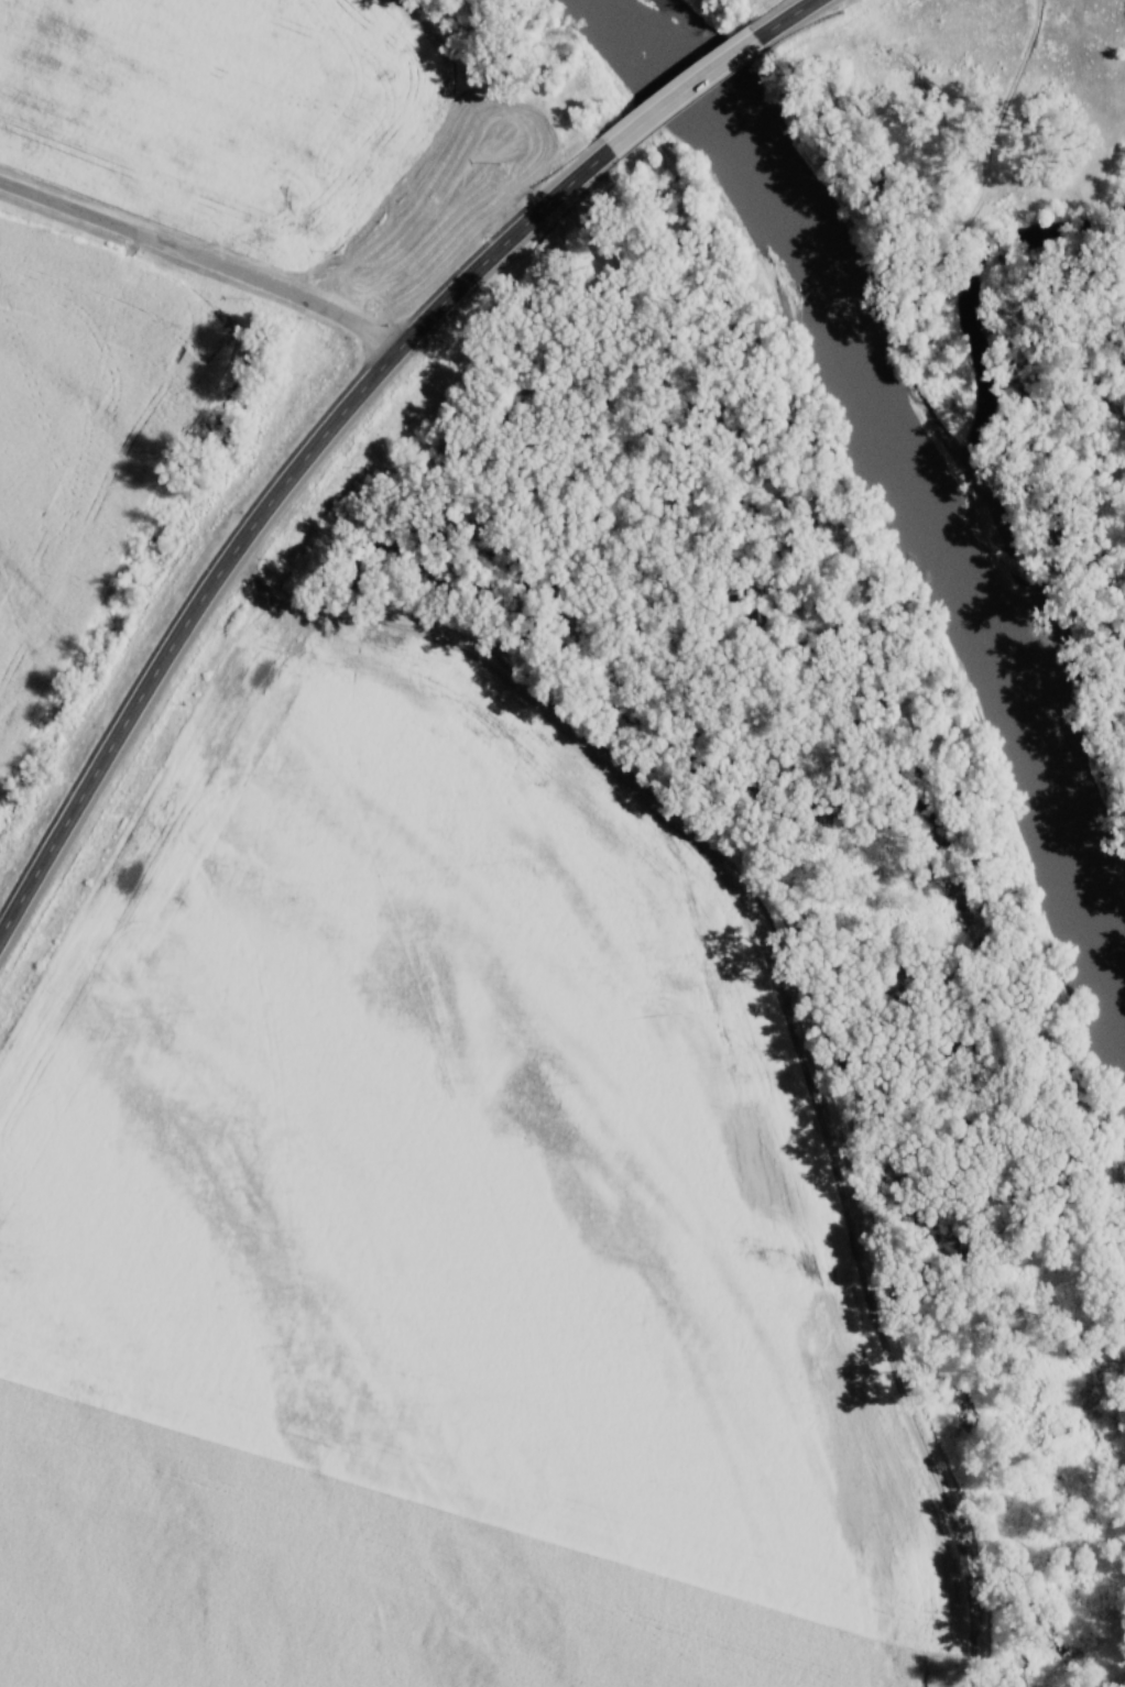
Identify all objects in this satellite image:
road: (785, 15)
road: (686, 86)
road: (204, 259)
river: (914, 424)
road: (264, 513)

